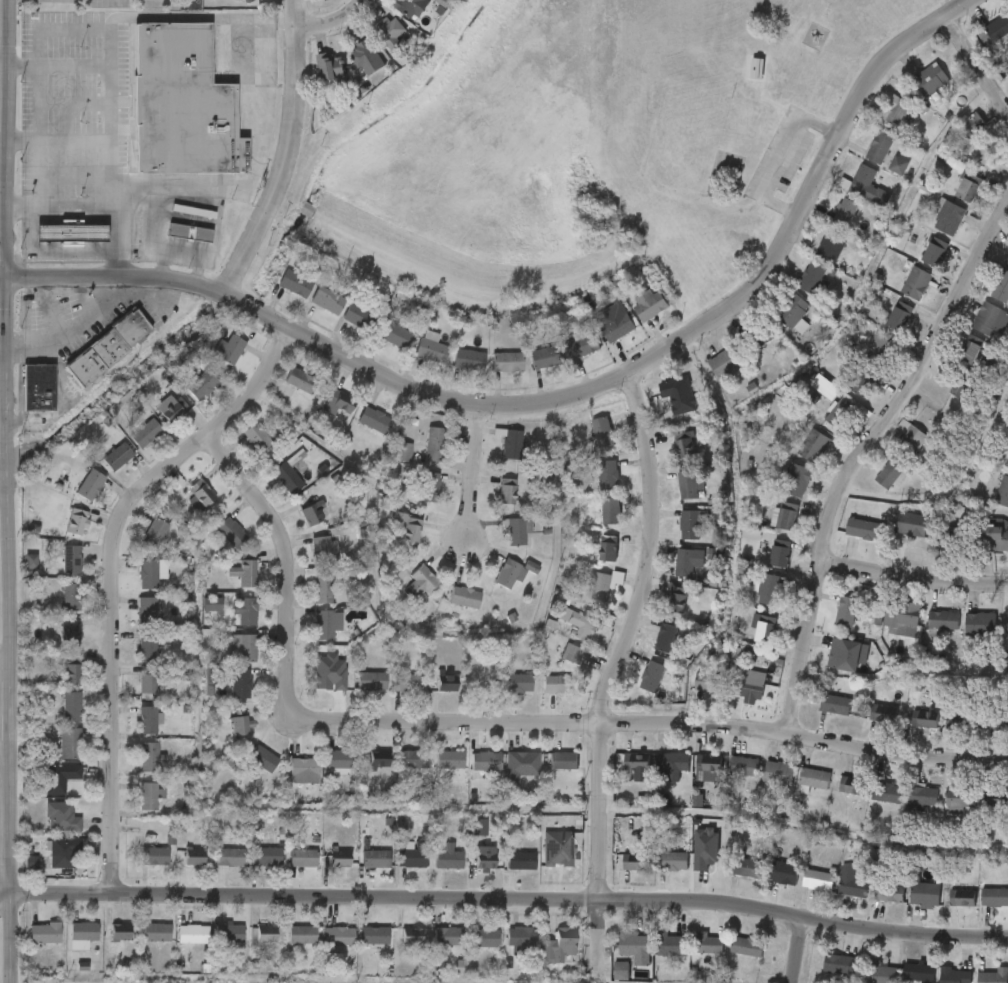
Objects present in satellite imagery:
building: (227, 6)
building: (412, 8)
building: (429, 10)
building: (395, 16)
road: (331, 22)
building: (997, 28)
road: (50, 29)
building: (390, 33)
road: (8, 34)
building: (982, 40)
building: (374, 45)
building: (368, 57)
road: (977, 60)
road: (59, 66)
road: (4, 68)
building: (332, 68)
building: (351, 70)
building: (313, 79)
building: (929, 79)
building: (742, 85)
building: (913, 91)
road: (259, 95)
building: (181, 103)
road: (8, 104)
building: (1006, 110)
building: (898, 113)
building: (881, 122)
building: (957, 135)
road: (59, 139)
park: (598, 145)
park: (585, 146)
building: (878, 147)
building: (985, 152)
road: (782, 156)
road: (287, 157)
building: (862, 160)
building: (896, 165)
building: (881, 177)
building: (938, 177)
building: (866, 186)
building: (967, 190)
building: (851, 198)
building: (951, 199)
road: (22, 205)
building: (845, 212)
building: (948, 218)
building: (829, 222)
building: (931, 230)
building: (189, 232)
building: (69, 233)
road: (153, 237)
building: (1007, 241)
building: (54, 243)
building: (173, 244)
road: (211, 244)
building: (825, 246)
building: (934, 253)
road: (8, 254)
building: (813, 259)
building: (1007, 262)
building: (918, 264)
road: (196, 276)
building: (810, 278)
building: (292, 283)
building: (915, 283)
building: (1000, 287)
building: (796, 290)
building: (278, 295)
building: (899, 295)
building: (987, 298)
building: (325, 300)
building: (648, 306)
building: (792, 311)
building: (310, 312)
building: (632, 316)
building: (899, 316)
building: (357, 317)
building: (989, 320)
building: (777, 325)
building: (615, 327)
building: (342, 328)
building: (882, 328)
building: (974, 331)
road: (66, 332)
building: (392, 335)
building: (601, 339)
building: (759, 342)
building: (877, 344)
building: (378, 346)
building: (580, 346)
building: (107, 347)
building: (228, 348)
building: (428, 348)
building: (543, 357)
building: (863, 357)
building: (565, 358)
building: (414, 359)
building: (466, 359)
building: (214, 361)
building: (505, 361)
building: (953, 361)
building: (723, 363)
road: (3, 368)
building: (528, 369)
building: (451, 371)
building: (490, 373)
building: (708, 374)
building: (297, 380)
building: (199, 383)
building: (860, 384)
building: (37, 387)
building: (668, 391)
building: (283, 392)
building: (847, 395)
building: (185, 397)
building: (21, 399)
building: (807, 399)
building: (337, 400)
road: (566, 401)
building: (953, 401)
building: (171, 410)
building: (844, 412)
building: (320, 414)
road: (7, 417)
building: (372, 420)
building: (156, 421)
building: (828, 423)
building: (357, 432)
building: (143, 433)
building: (600, 433)
building: (254, 438)
building: (907, 439)
building: (431, 444)
building: (511, 444)
building: (585, 444)
building: (129, 445)
building: (682, 445)
building: (812, 445)
building: (893, 447)
building: (240, 450)
road: (864, 454)
building: (417, 455)
building: (495, 455)
building: (115, 456)
building: (667, 457)
building: (796, 458)
building: (386, 463)
building: (100, 468)
building: (1004, 470)
building: (286, 473)
building: (889, 473)
building: (605, 474)
road: (472, 476)
building: (794, 480)
building: (173, 482)
building: (88, 484)
building: (686, 485)
building: (591, 486)
building: (873, 486)
building: (426, 487)
building: (504, 491)
building: (779, 492)
building: (1002, 492)
building: (197, 496)
building: (673, 496)
building: (73, 497)
building: (412, 498)
building: (489, 503)
building: (992, 504)
building: (183, 507)
building: (607, 511)
building: (310, 516)
building: (786, 517)
building: (593, 518)
building: (74, 522)
building: (910, 524)
building: (295, 526)
building: (687, 526)
building: (406, 527)
building: (770, 528)
building: (864, 530)
building: (514, 532)
building: (60, 533)
building: (152, 533)
building: (228, 533)
building: (717, 535)
building: (893, 536)
building: (672, 537)
building: (953, 537)
building: (392, 539)
building: (995, 539)
building: (845, 541)
building: (499, 542)
building: (138, 543)
building: (214, 545)
building: (983, 546)
building: (932, 547)
building: (319, 550)
building: (605, 551)
building: (779, 557)
building: (307, 559)
building: (68, 561)
building: (686, 562)
building: (591, 563)
building: (763, 565)
building: (54, 571)
building: (14, 572)
building: (241, 573)
building: (510, 573)
building: (671, 573)
building: (146, 574)
road: (108, 575)
road: (914, 579)
building: (420, 582)
building: (227, 584)
building: (496, 584)
building: (132, 586)
building: (325, 589)
building: (769, 589)
building: (403, 594)
building: (587, 596)
building: (68, 597)
building: (462, 597)
building: (306, 601)
building: (675, 601)
building: (753, 601)
building: (53, 608)
building: (448, 609)
building: (145, 611)
building: (660, 611)
building: (242, 612)
building: (845, 612)
building: (195, 615)
building: (130, 619)
building: (902, 620)
building: (942, 621)
building: (228, 622)
building: (578, 623)
building: (829, 623)
building: (323, 625)
building: (980, 625)
building: (884, 630)
building: (926, 632)
building: (763, 633)
building: (67, 634)
building: (563, 634)
building: (310, 635)
building: (963, 635)
building: (998, 636)
building: (664, 639)
building: (748, 641)
building: (53, 644)
building: (145, 648)
building: (244, 649)
building: (649, 650)
building: (570, 654)
building: (842, 655)
building: (230, 659)
building: (131, 660)
building: (720, 664)
building: (556, 665)
building: (830, 666)
road: (615, 668)
building: (69, 671)
building: (209, 676)
building: (649, 678)
building: (54, 681)
building: (369, 681)
building: (333, 682)
road: (0, 683)
building: (405, 683)
building: (445, 683)
building: (707, 683)
building: (144, 684)
building: (239, 684)
building: (477, 684)
building: (515, 684)
building: (554, 685)
building: (635, 688)
building: (193, 689)
building: (744, 690)
building: (354, 692)
building: (390, 694)
building: (430, 694)
building: (688, 694)
building: (130, 695)
building: (224, 695)
building: (500, 695)
building: (539, 696)
building: (733, 698)
building: (833, 705)
building: (68, 706)
building: (883, 713)
building: (818, 716)
building: (55, 718)
building: (145, 720)
building: (923, 720)
building: (994, 721)
road: (501, 722)
building: (959, 722)
road: (7, 724)
building: (867, 725)
building: (237, 726)
building: (131, 731)
building: (907, 731)
building: (940, 731)
building: (981, 734)
building: (1005, 734)
building: (225, 737)
building: (68, 743)
road: (3, 751)
building: (53, 755)
building: (147, 757)
building: (261, 759)
building: (377, 759)
building: (412, 759)
building: (448, 760)
building: (560, 761)
building: (484, 762)
building: (636, 762)
building: (338, 763)
building: (519, 764)
building: (670, 766)
building: (302, 767)
building: (743, 767)
building: (707, 768)
building: (135, 769)
building: (246, 770)
building: (396, 770)
building: (362, 771)
building: (321, 772)
building: (433, 772)
building: (472, 772)
building: (546, 772)
building: (620, 773)
building: (505, 774)
building: (777, 775)
building: (58, 776)
building: (656, 777)
building: (287, 778)
building: (727, 778)
building: (692, 779)
building: (812, 779)
building: (761, 784)
building: (851, 786)
building: (43, 788)
building: (797, 790)
building: (885, 794)
building: (145, 796)
building: (834, 797)
building: (921, 797)
building: (958, 799)
building: (993, 801)
building: (870, 804)
building: (132, 807)
building: (1005, 807)
building: (905, 810)
building: (978, 810)
building: (680, 812)
building: (942, 812)
building: (59, 818)
building: (45, 828)
building: (60, 854)
building: (413, 855)
building: (152, 856)
building: (193, 857)
building: (228, 857)
building: (264, 857)
building: (446, 857)
building: (301, 858)
building: (338, 858)
building: (483, 858)
building: (373, 859)
building: (541, 859)
building: (519, 861)
building: (688, 861)
building: (635, 862)
building: (672, 862)
building: (711, 862)
building: (47, 863)
building: (395, 865)
building: (137, 867)
building: (177, 868)
building: (215, 868)
building: (250, 868)
building: (746, 868)
building: (286, 869)
building: (323, 869)
building: (431, 869)
building: (468, 869)
building: (359, 870)
building: (504, 871)
building: (618, 873)
building: (656, 873)
building: (781, 873)
building: (735, 880)
building: (816, 881)
building: (766, 884)
building: (849, 885)
building: (801, 892)
building: (887, 893)
building: (835, 895)
building: (923, 895)
road: (505, 898)
building: (961, 898)
building: (994, 898)
building: (871, 904)
building: (908, 906)
building: (945, 909)
building: (979, 909)
building: (1004, 910)
building: (82, 931)
building: (118, 932)
building: (154, 932)
building: (42, 933)
building: (227, 933)
building: (191, 934)
building: (300, 935)
building: (261, 936)
building: (373, 936)
building: (410, 936)
building: (445, 936)
building: (337, 937)
building: (481, 938)
building: (518, 938)
building: (103, 943)
building: (139, 943)
building: (705, 943)
building: (28, 944)
building: (212, 944)
building: (176, 945)
building: (670, 945)
building: (66, 946)
building: (246, 946)
building: (285, 946)
building: (358, 946)
building: (555, 946)
building: (634, 946)
building: (746, 946)
building: (321, 947)
building: (394, 947)
building: (431, 947)
building: (467, 949)
building: (503, 950)
road: (799, 951)
building: (690, 955)
building: (541, 957)
building: (654, 957)
building: (618, 958)
building: (729, 958)
building: (838, 964)
building: (880, 972)
building: (918, 972)
building: (822, 975)
building: (954, 975)
building: (993, 976)
building: (604, 978)
building: (862, 978)
building: (901, 979)
building: (937, 981)

